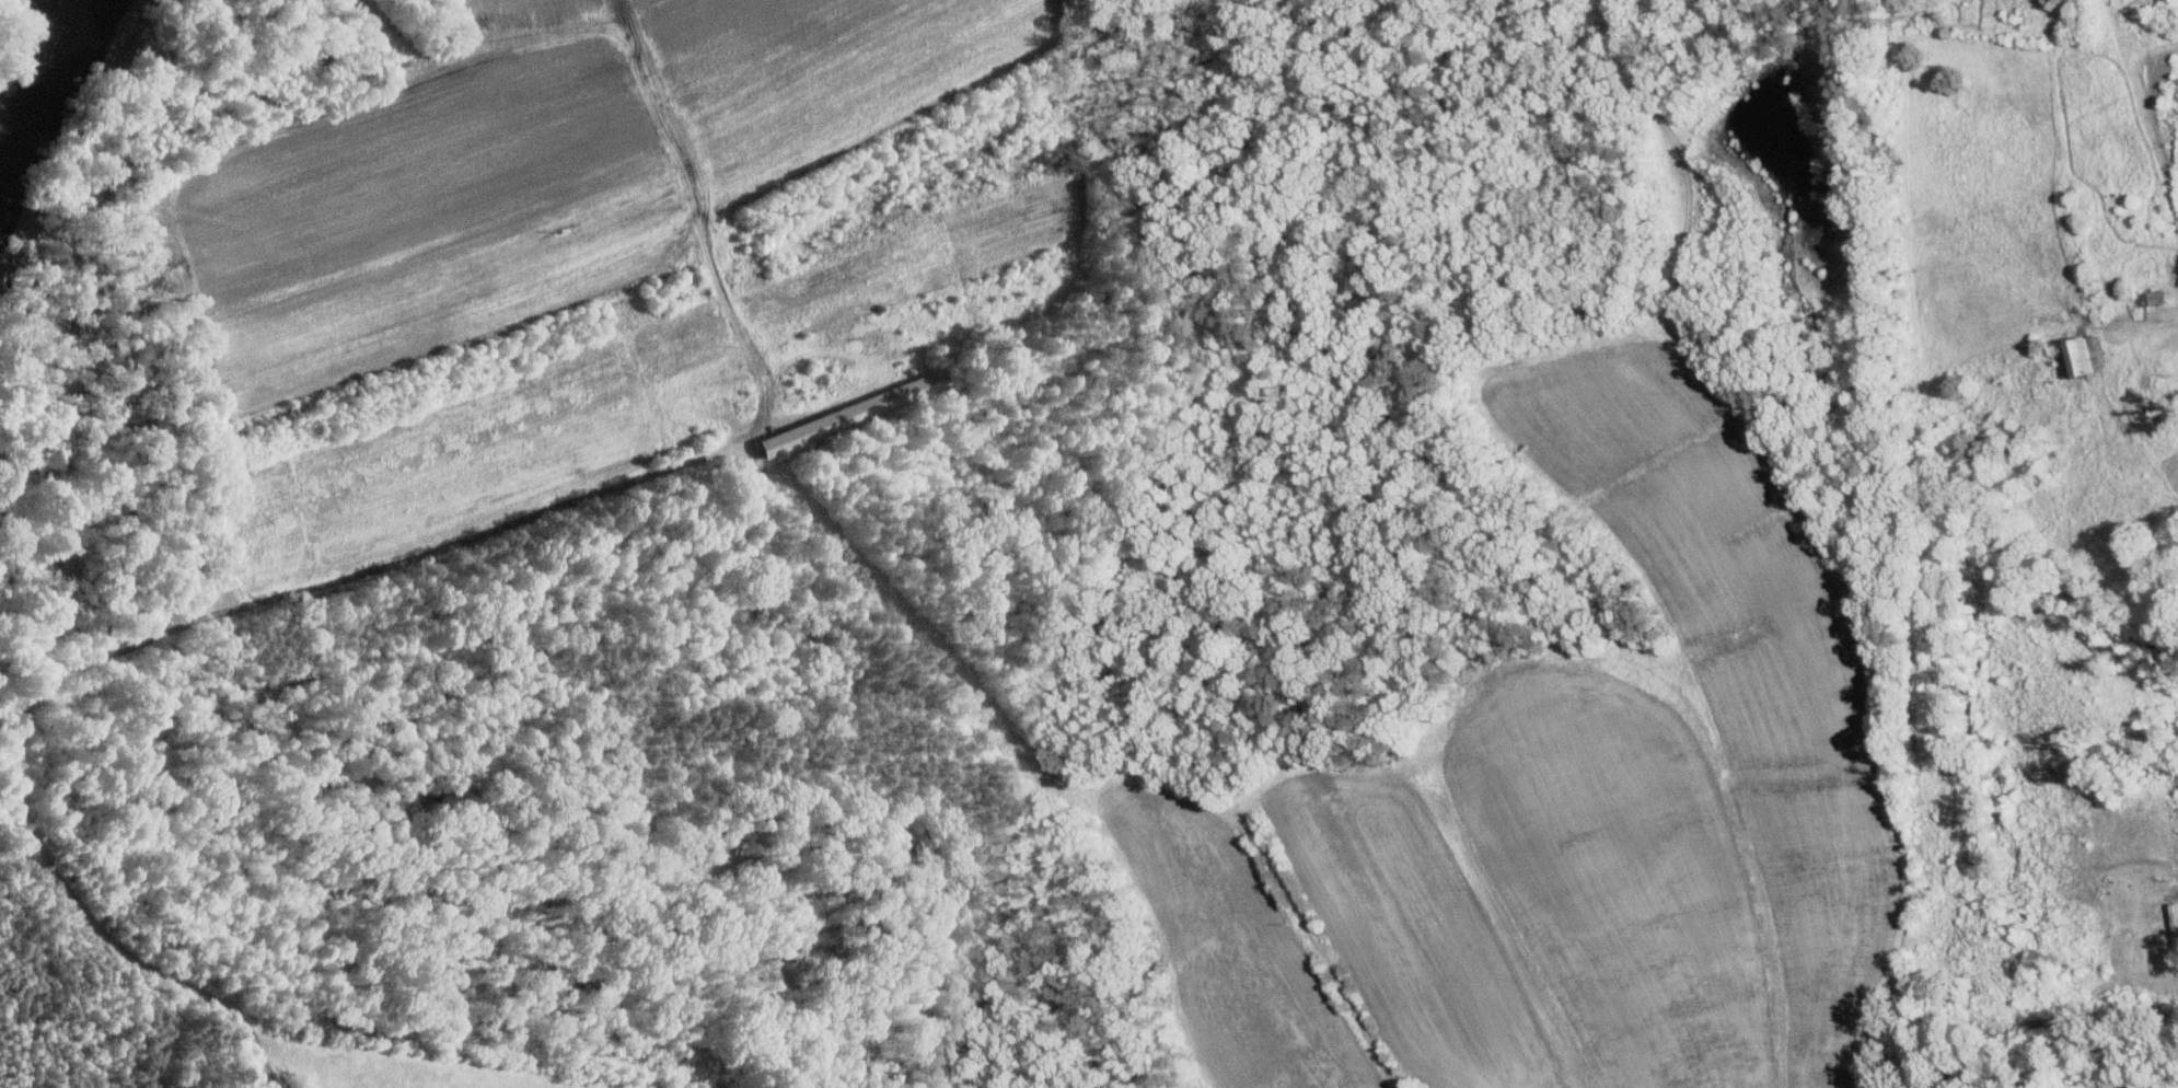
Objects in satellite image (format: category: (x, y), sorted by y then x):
river: (28, 63)
building: (2148, 297)
building: (2084, 355)
building: (853, 413)
road: (1393, 1084)

